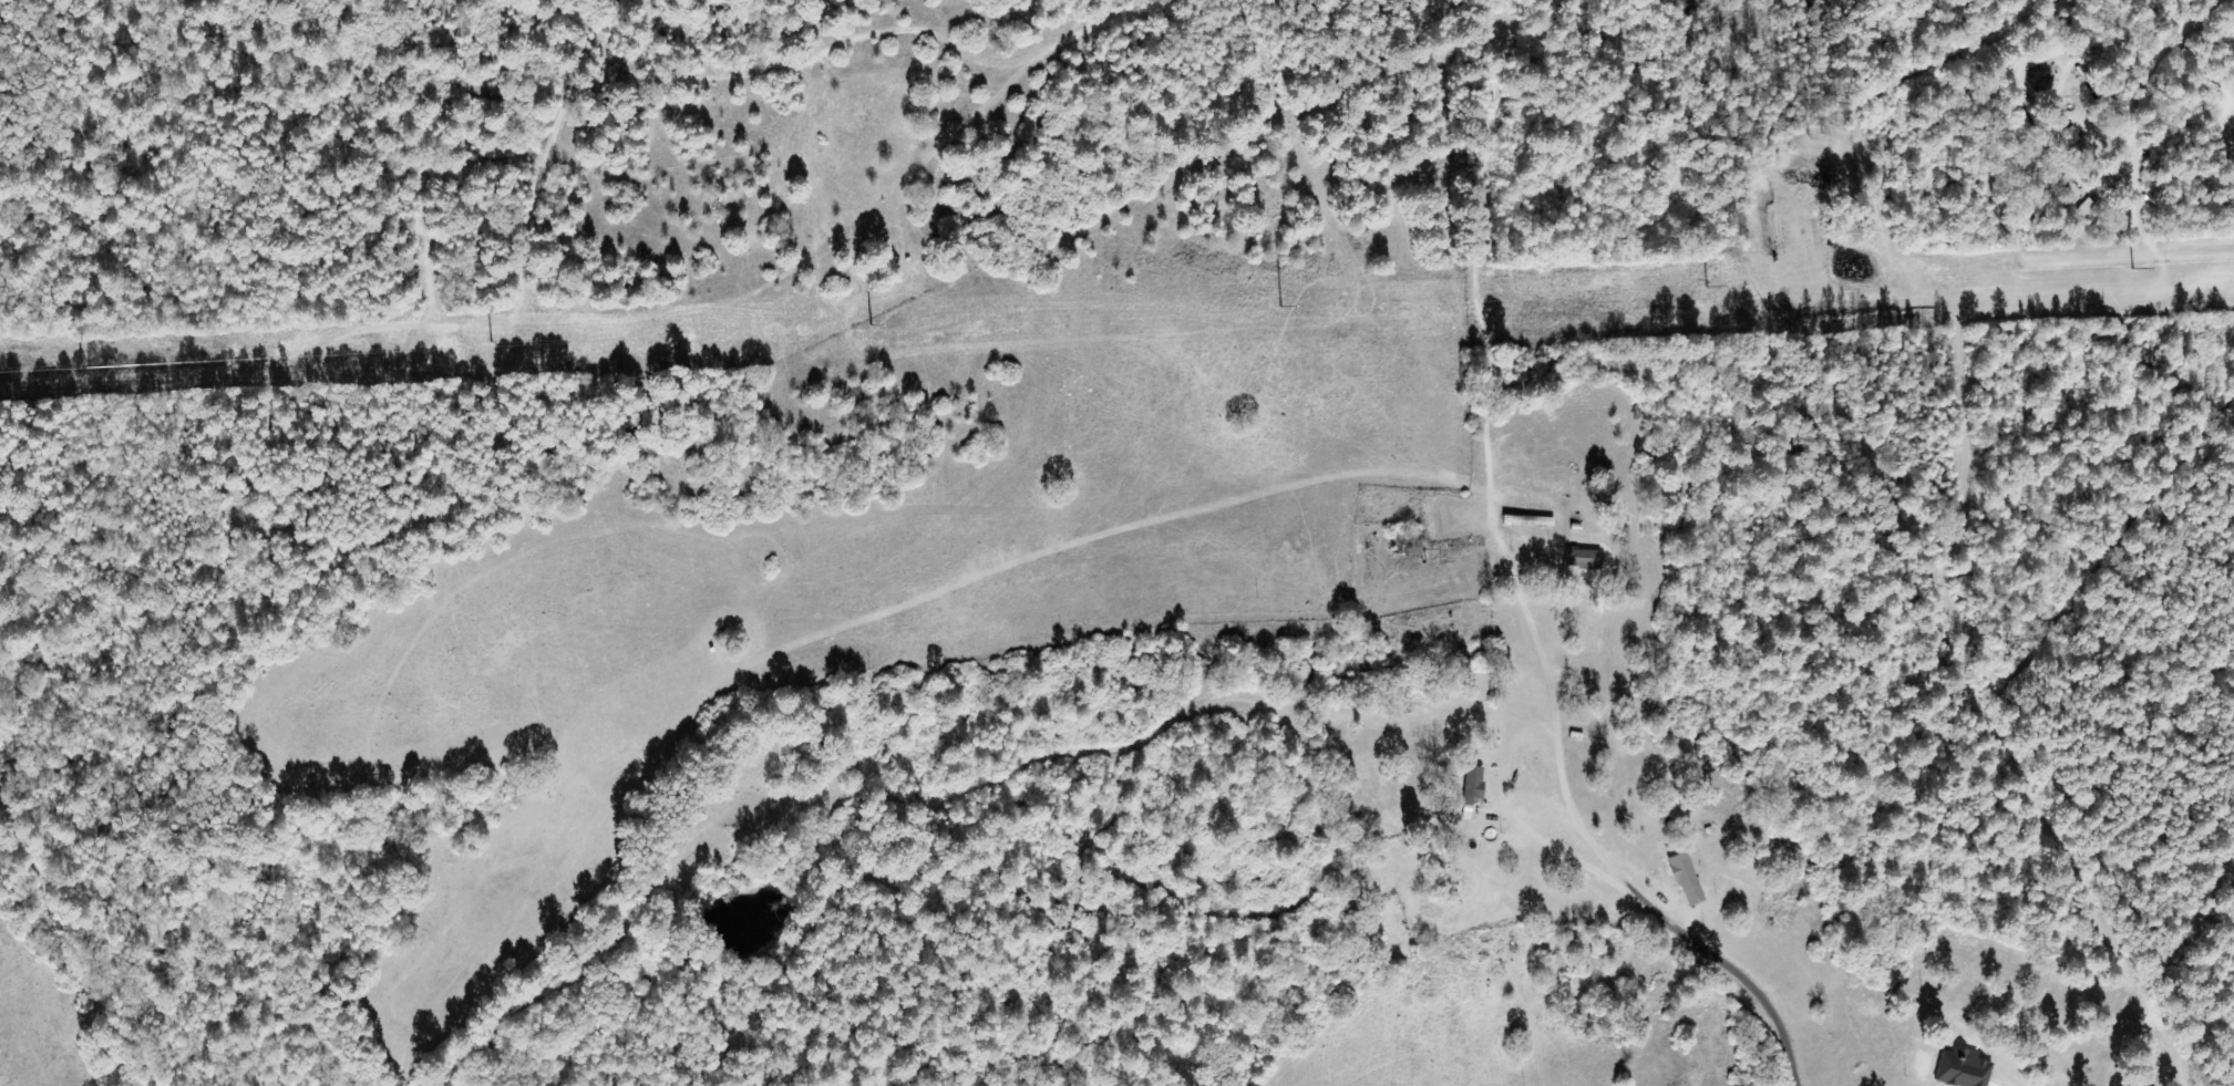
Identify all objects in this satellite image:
building: (2069, 135)
building: (2087, 207)
power tower: (2123, 273)
power tower: (1693, 292)
power tower: (1396, 307)
power tower: (1063, 320)
power tower: (684, 339)
power tower: (420, 351)
building: (1588, 559)
road: (1484, 600)
road: (912, 702)
road: (1417, 738)
building: (1474, 786)
building: (1687, 880)
building: (1963, 1068)

